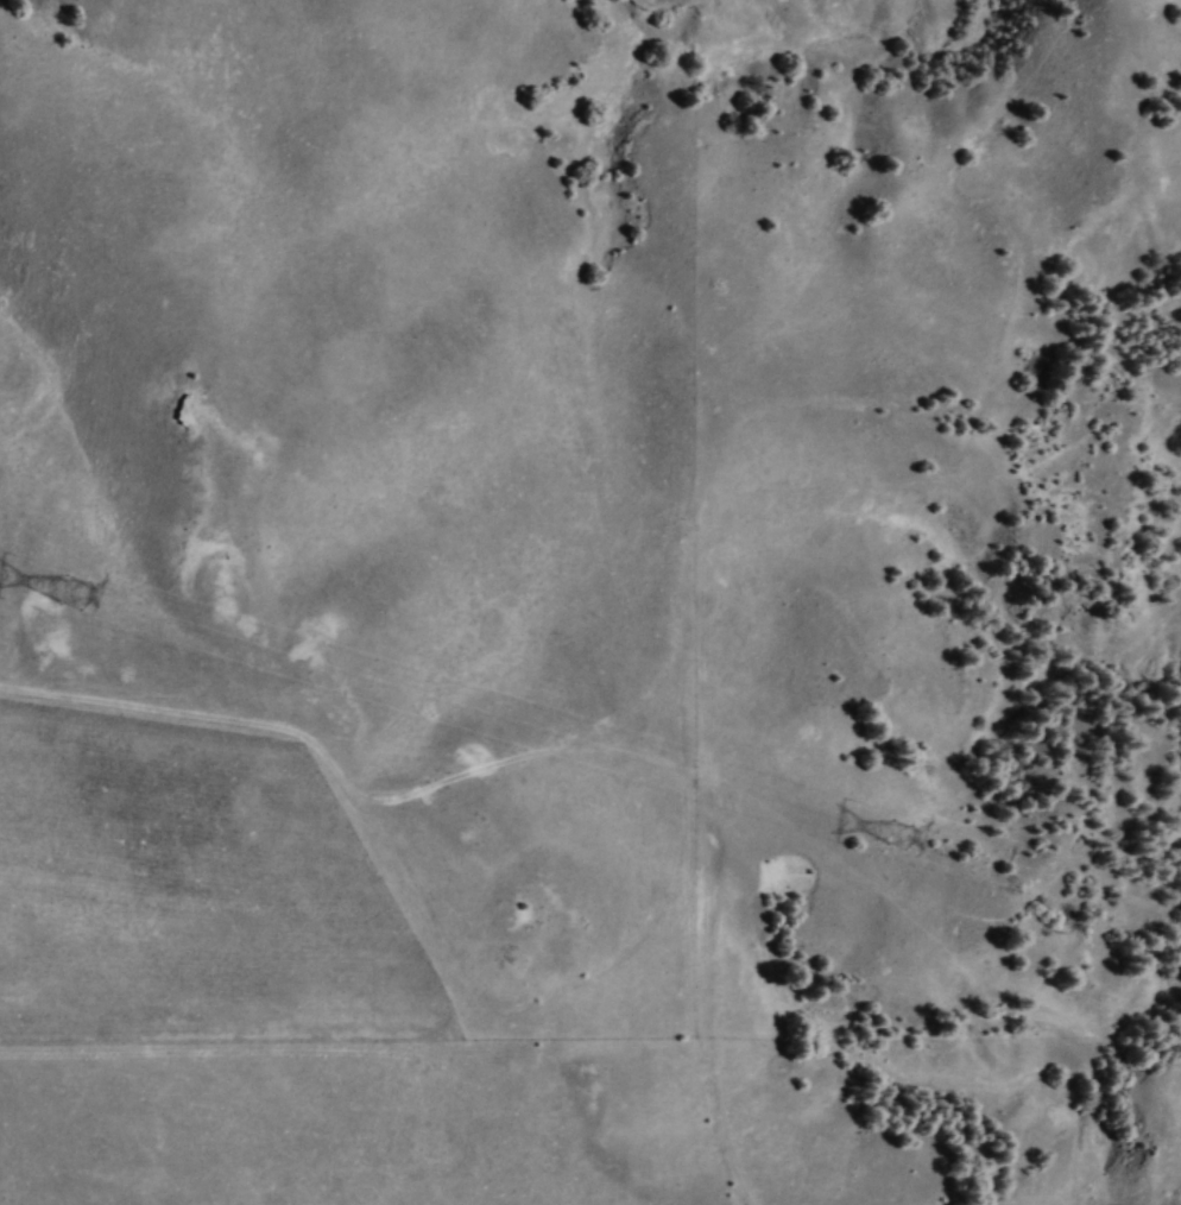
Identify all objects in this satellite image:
power tower: (76, 592)
power tower: (892, 832)

